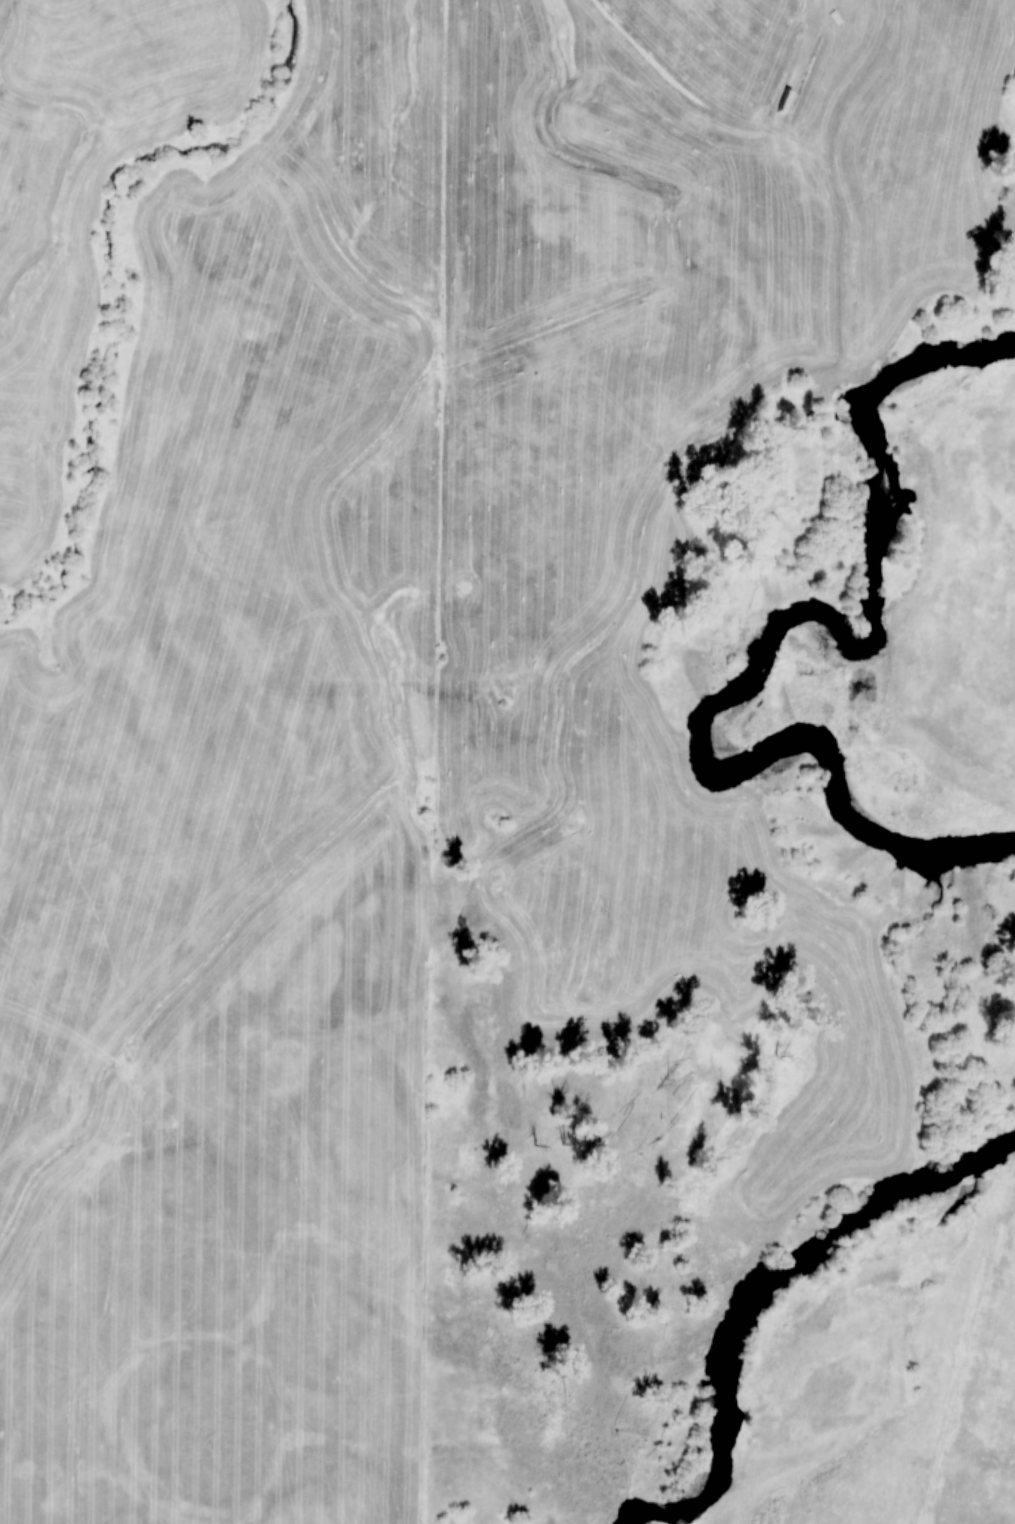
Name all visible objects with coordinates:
river: (789, 619)
river: (773, 1279)

